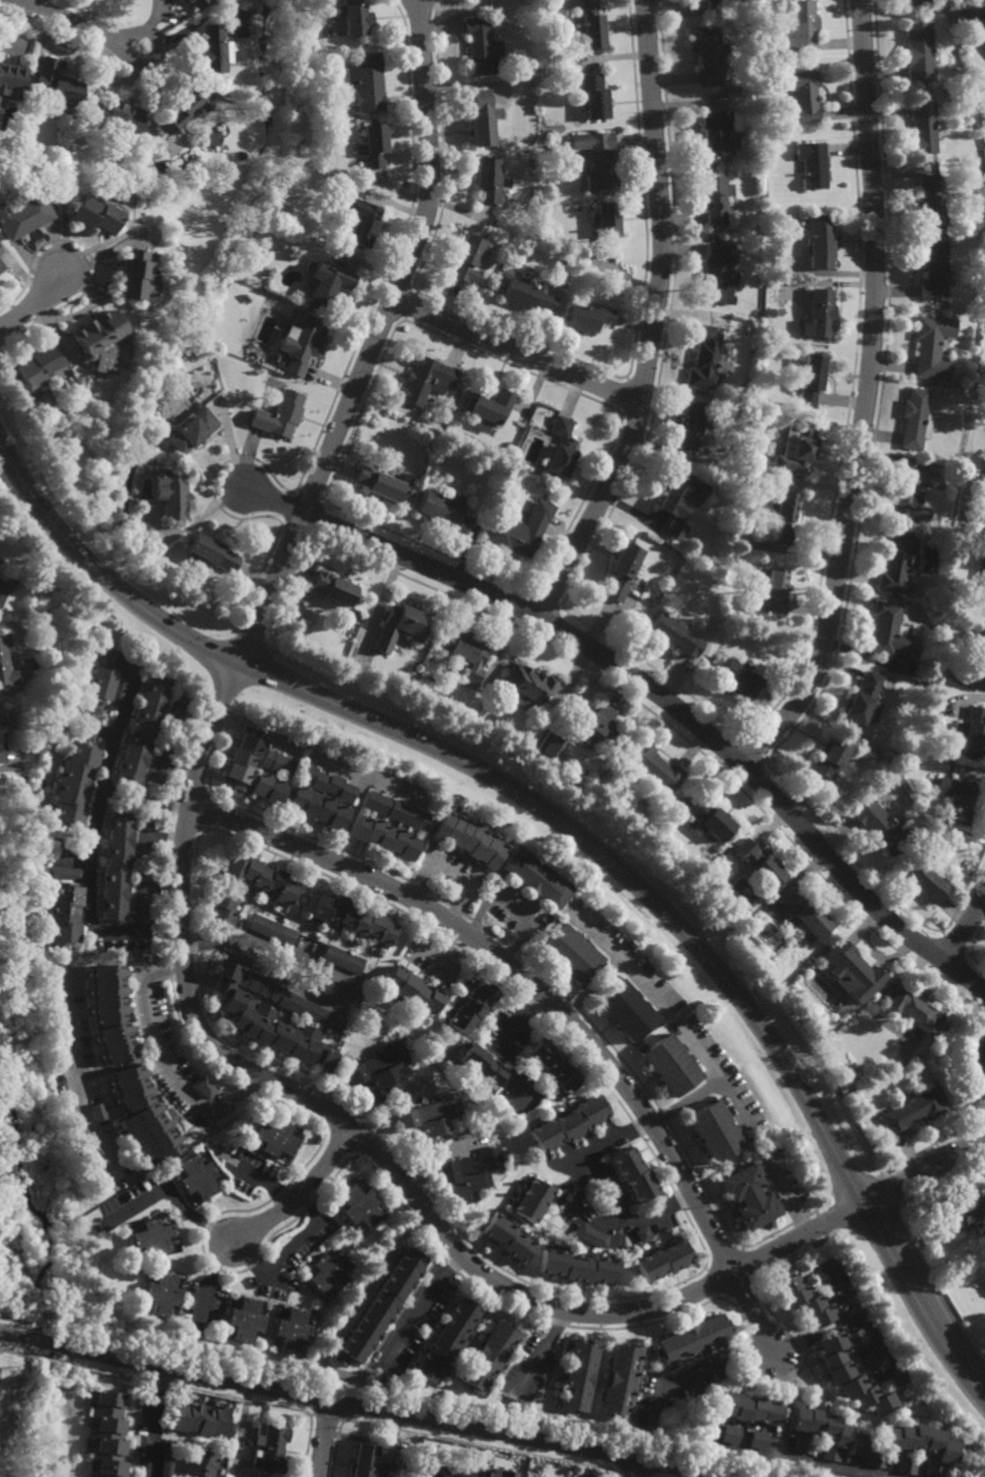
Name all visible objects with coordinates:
road: (29, 2)
building: (915, 2)
building: (192, 3)
building: (720, 6)
building: (976, 11)
building: (353, 17)
road: (66, 18)
building: (592, 26)
building: (798, 30)
road: (139, 32)
building: (480, 47)
building: (984, 47)
building: (209, 50)
building: (919, 52)
building: (709, 54)
building: (11, 82)
building: (366, 83)
building: (55, 85)
building: (539, 87)
building: (802, 95)
building: (594, 97)
building: (0, 106)
building: (183, 108)
building: (114, 116)
building: (483, 119)
building: (923, 126)
building: (716, 134)
building: (209, 140)
building: (373, 147)
building: (741, 156)
building: (597, 161)
building: (811, 165)
building: (487, 181)
building: (715, 198)
building: (929, 203)
building: (25, 217)
building: (92, 217)
building: (360, 224)
building: (606, 229)
building: (820, 243)
building: (1, 253)
building: (256, 253)
building: (467, 262)
building: (1, 270)
building: (934, 270)
building: (718, 277)
building: (132, 279)
building: (327, 285)
building: (527, 297)
road: (32, 302)
building: (818, 316)
road: (654, 320)
building: (589, 321)
road: (375, 340)
building: (97, 343)
building: (300, 347)
building: (930, 348)
road: (518, 352)
building: (706, 359)
building: (37, 366)
building: (809, 380)
building: (424, 381)
road: (866, 398)
building: (488, 407)
building: (277, 413)
building: (913, 417)
building: (694, 425)
building: (189, 429)
building: (562, 446)
building: (798, 450)
building: (984, 468)
building: (383, 482)
building: (168, 492)
building: (908, 494)
building: (681, 500)
building: (439, 507)
building: (781, 515)
building: (517, 527)
building: (208, 552)
building: (897, 560)
building: (625, 571)
building: (982, 576)
building: (332, 587)
building: (772, 592)
building: (400, 627)
building: (887, 631)
building: (675, 635)
building: (464, 653)
building: (981, 660)
building: (5, 664)
building: (109, 678)
building: (434, 679)
building: (740, 680)
building: (529, 685)
road: (647, 685)
building: (183, 697)
building: (861, 699)
building: (90, 705)
building: (492, 705)
building: (597, 723)
building: (140, 730)
building: (82, 733)
building: (971, 734)
building: (1, 742)
building: (553, 747)
building: (162, 749)
building: (832, 755)
building: (244, 759)
building: (279, 764)
building: (925, 764)
building: (653, 767)
road: (104, 777)
building: (155, 778)
building: (327, 784)
building: (74, 786)
building: (269, 790)
building: (956, 799)
building: (318, 809)
building: (396, 811)
building: (712, 822)
building: (145, 825)
building: (883, 827)
road: (573, 830)
building: (386, 839)
building: (470, 842)
building: (66, 846)
building: (759, 864)
building: (113, 868)
road: (450, 872)
building: (64, 875)
building: (142, 877)
building: (262, 881)
building: (537, 881)
building: (926, 881)
road: (90, 882)
building: (141, 905)
road: (509, 906)
building: (222, 910)
building: (806, 915)
building: (64, 916)
building: (140, 919)
building: (354, 921)
road: (965, 929)
building: (272, 931)
building: (572, 956)
building: (343, 959)
road: (620, 960)
building: (852, 973)
road: (333, 976)
building: (843, 985)
road: (592, 987)
building: (413, 993)
road: (554, 1005)
building: (471, 1011)
building: (627, 1012)
building: (913, 1012)
building: (110, 1014)
building: (251, 1017)
road: (506, 1045)
road: (164, 1060)
building: (957, 1062)
building: (975, 1063)
building: (533, 1064)
building: (553, 1064)
building: (482, 1065)
building: (670, 1065)
road: (73, 1070)
building: (465, 1070)
building: (378, 1071)
building: (541, 1073)
road: (717, 1080)
building: (480, 1085)
building: (204, 1087)
building: (554, 1089)
road: (684, 1102)
building: (910, 1111)
building: (144, 1114)
building: (430, 1120)
building: (568, 1124)
road: (89, 1128)
building: (714, 1130)
building: (119, 1131)
building: (276, 1138)
building: (129, 1147)
road: (435, 1160)
building: (139, 1162)
building: (470, 1173)
building: (632, 1173)
building: (197, 1177)
building: (523, 1186)
road: (300, 1191)
road: (171, 1194)
road: (781, 1194)
building: (748, 1195)
road: (416, 1197)
building: (516, 1198)
building: (532, 1200)
road: (577, 1205)
building: (360, 1207)
building: (963, 1211)
road: (302, 1233)
building: (642, 1234)
building: (590, 1235)
building: (152, 1237)
building: (506, 1238)
building: (664, 1260)
road: (256, 1266)
building: (578, 1267)
building: (330, 1273)
building: (818, 1276)
road: (210, 1277)
building: (161, 1295)
building: (807, 1299)
building: (380, 1309)
building: (246, 1321)
building: (293, 1331)
road: (816, 1334)
road: (17, 1337)
building: (695, 1338)
building: (857, 1339)
building: (447, 1340)
road: (44, 1343)
building: (489, 1357)
building: (869, 1364)
road: (330, 1370)
road: (697, 1370)
building: (580, 1377)
building: (851, 1377)
building: (898, 1378)
building: (622, 1381)
building: (750, 1408)
road: (388, 1412)
building: (198, 1419)
road: (151, 1421)
building: (829, 1433)
building: (106, 1435)
building: (732, 1435)
road: (324, 1439)
building: (757, 1440)
road: (782, 1441)
building: (921, 1445)
building: (802, 1446)
building: (271, 1450)
building: (167, 1459)
building: (877, 1460)
building: (370, 1463)
building: (200, 1464)
building: (907, 1465)
road: (629, 1468)
road: (829, 1468)
road: (643, 1469)
building: (229, 1472)
building: (446, 1473)
building: (497, 1474)
road: (718, 1476)

